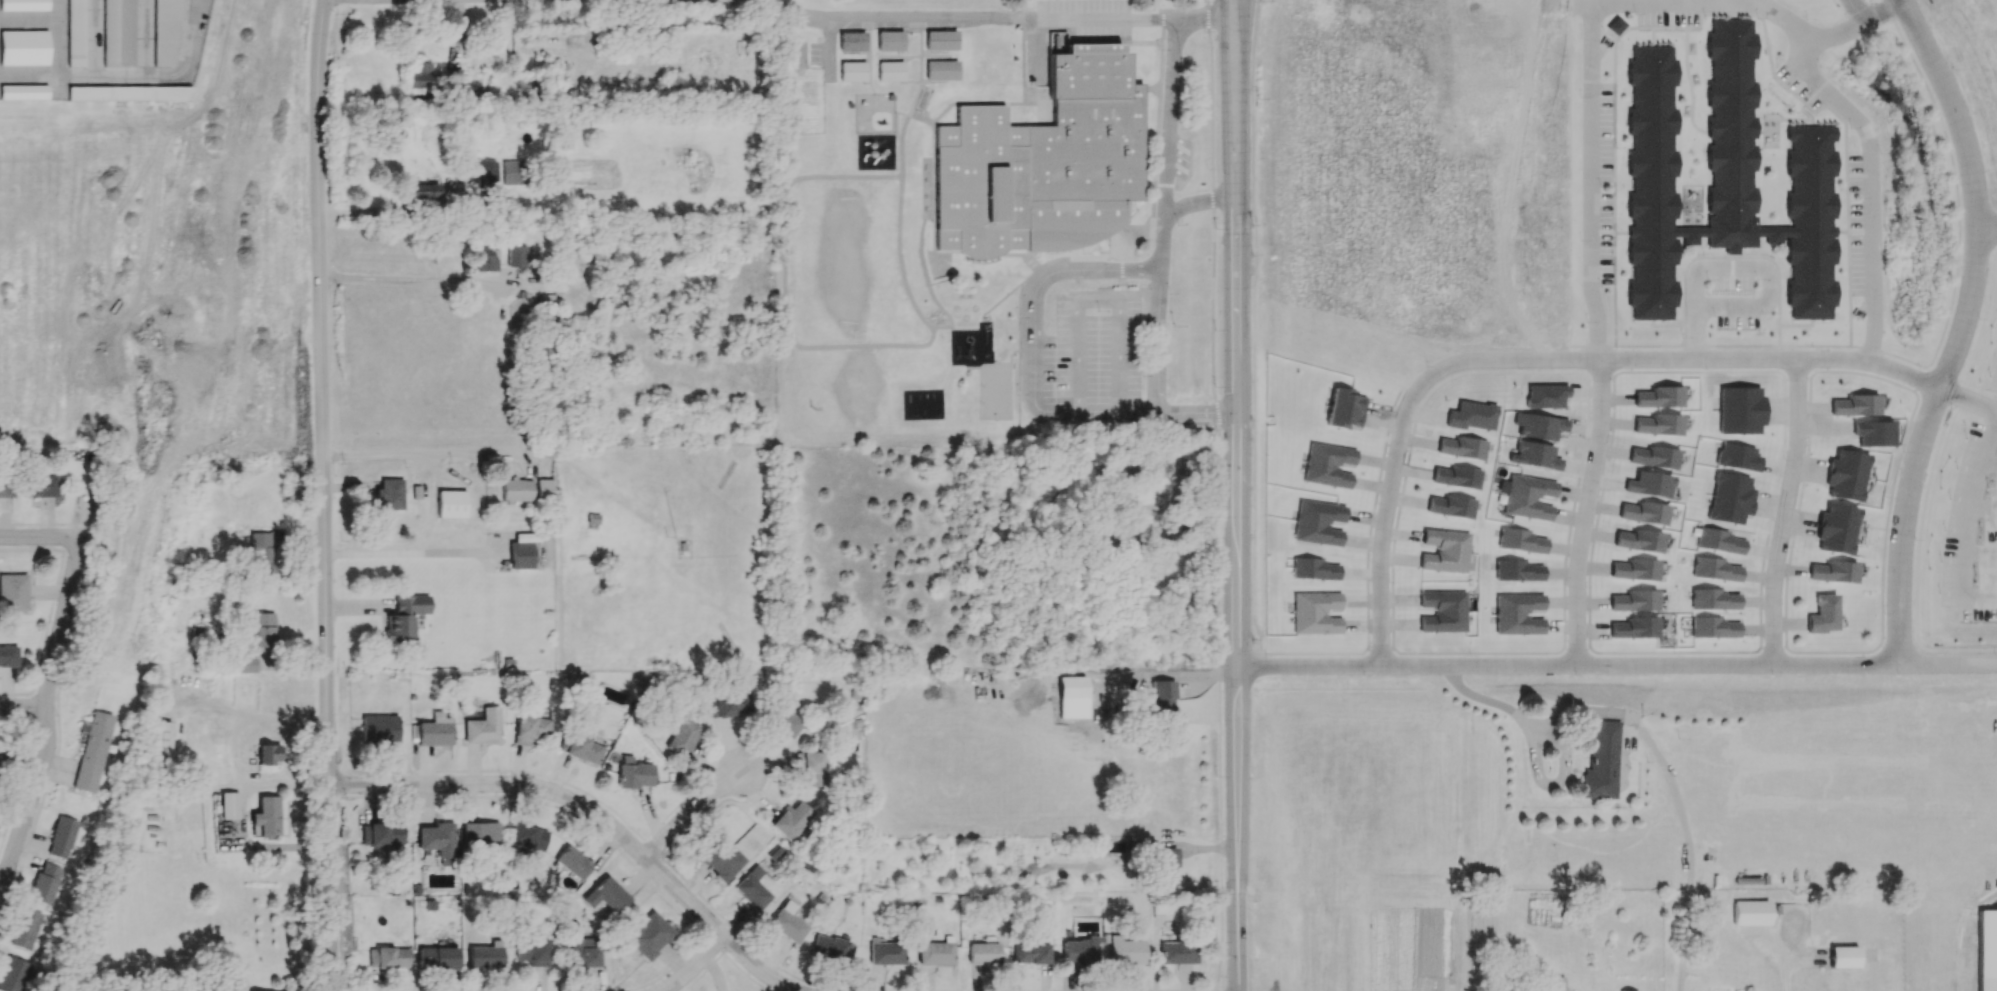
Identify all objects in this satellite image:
building: (24, 5)
road: (1855, 9)
road: (1592, 17)
building: (1615, 25)
road: (930, 27)
building: (165, 31)
building: (75, 33)
building: (118, 33)
building: (941, 39)
road: (210, 40)
building: (890, 40)
building: (852, 41)
building: (1057, 42)
building: (24, 47)
building: (941, 69)
building: (852, 71)
building: (890, 71)
building: (434, 77)
road: (100, 79)
building: (24, 91)
building: (130, 93)
road: (1225, 99)
road: (1241, 99)
road: (1956, 109)
road: (1170, 124)
building: (1045, 163)
building: (486, 171)
building: (513, 172)
building: (1722, 179)
road: (1869, 190)
building: (423, 191)
road: (1197, 205)
road: (385, 213)
road: (1988, 229)
building: (517, 256)
building: (486, 260)
road: (1739, 265)
road: (412, 282)
road: (1160, 317)
road: (1688, 359)
road: (1034, 380)
building: (1546, 396)
building: (1659, 397)
road: (1968, 399)
building: (1855, 405)
building: (1346, 408)
building: (1741, 409)
building: (1472, 415)
building: (1658, 424)
building: (1541, 426)
building: (1873, 433)
road: (1920, 443)
building: (1463, 447)
building: (1535, 455)
building: (1654, 457)
building: (1738, 457)
road: (434, 458)
road: (1989, 463)
building: (1328, 465)
building: (1846, 474)
building: (1458, 476)
building: (1162, 483)
building: (1649, 484)
building: (40, 485)
building: (6, 487)
building: (516, 489)
building: (544, 489)
building: (390, 494)
road: (323, 495)
building: (1528, 497)
building: (1731, 498)
building: (451, 504)
building: (1452, 506)
road: (1984, 506)
road: (1585, 511)
road: (1785, 511)
road: (1386, 512)
building: (1643, 512)
road: (1237, 515)
building: (1319, 522)
road: (1968, 525)
building: (1838, 528)
building: (1522, 540)
building: (1640, 540)
building: (1721, 541)
building: (1445, 550)
road: (405, 552)
road: (1981, 552)
building: (263, 553)
building: (521, 555)
building: (1314, 569)
building: (1635, 569)
building: (1717, 569)
building: (1519, 570)
building: (1834, 572)
road: (76, 579)
building: (13, 591)
building: (1715, 599)
building: (1635, 600)
building: (1444, 611)
building: (1316, 612)
building: (1518, 613)
building: (1823, 614)
building: (405, 616)
building: (1635, 627)
building: (1715, 627)
building: (265, 628)
building: (177, 635)
building: (199, 635)
building: (8, 656)
road: (1947, 663)
building: (247, 664)
road: (1565, 665)
building: (1073, 686)
building: (236, 688)
building: (1165, 701)
building: (730, 705)
road: (22, 707)
building: (785, 720)
building: (483, 727)
building: (379, 729)
building: (530, 729)
building: (434, 730)
building: (682, 737)
building: (160, 742)
road: (1656, 750)
building: (93, 751)
building: (269, 754)
building: (1601, 761)
building: (817, 767)
building: (634, 775)
road: (554, 794)
road: (36, 795)
building: (229, 805)
building: (267, 816)
road: (694, 816)
building: (790, 820)
building: (480, 832)
building: (382, 834)
building: (61, 837)
building: (528, 837)
building: (438, 841)
building: (721, 858)
building: (573, 861)
road: (2, 879)
building: (43, 884)
road: (2, 885)
building: (752, 888)
building: (606, 895)
road: (1237, 912)
building: (1751, 913)
building: (787, 925)
building: (25, 928)
building: (648, 935)
building: (833, 947)
building: (1175, 948)
building: (531, 949)
building: (1125, 950)
building: (1987, 950)
building: (984, 951)
building: (1079, 951)
building: (583, 952)
building: (886, 953)
building: (936, 953)
building: (1031, 953)
building: (484, 956)
building: (389, 957)
building: (1844, 957)
building: (437, 958)
road: (760, 966)
road: (699, 967)
road: (1790, 970)
building: (13, 974)
building: (1554, 983)
building: (1626, 990)

